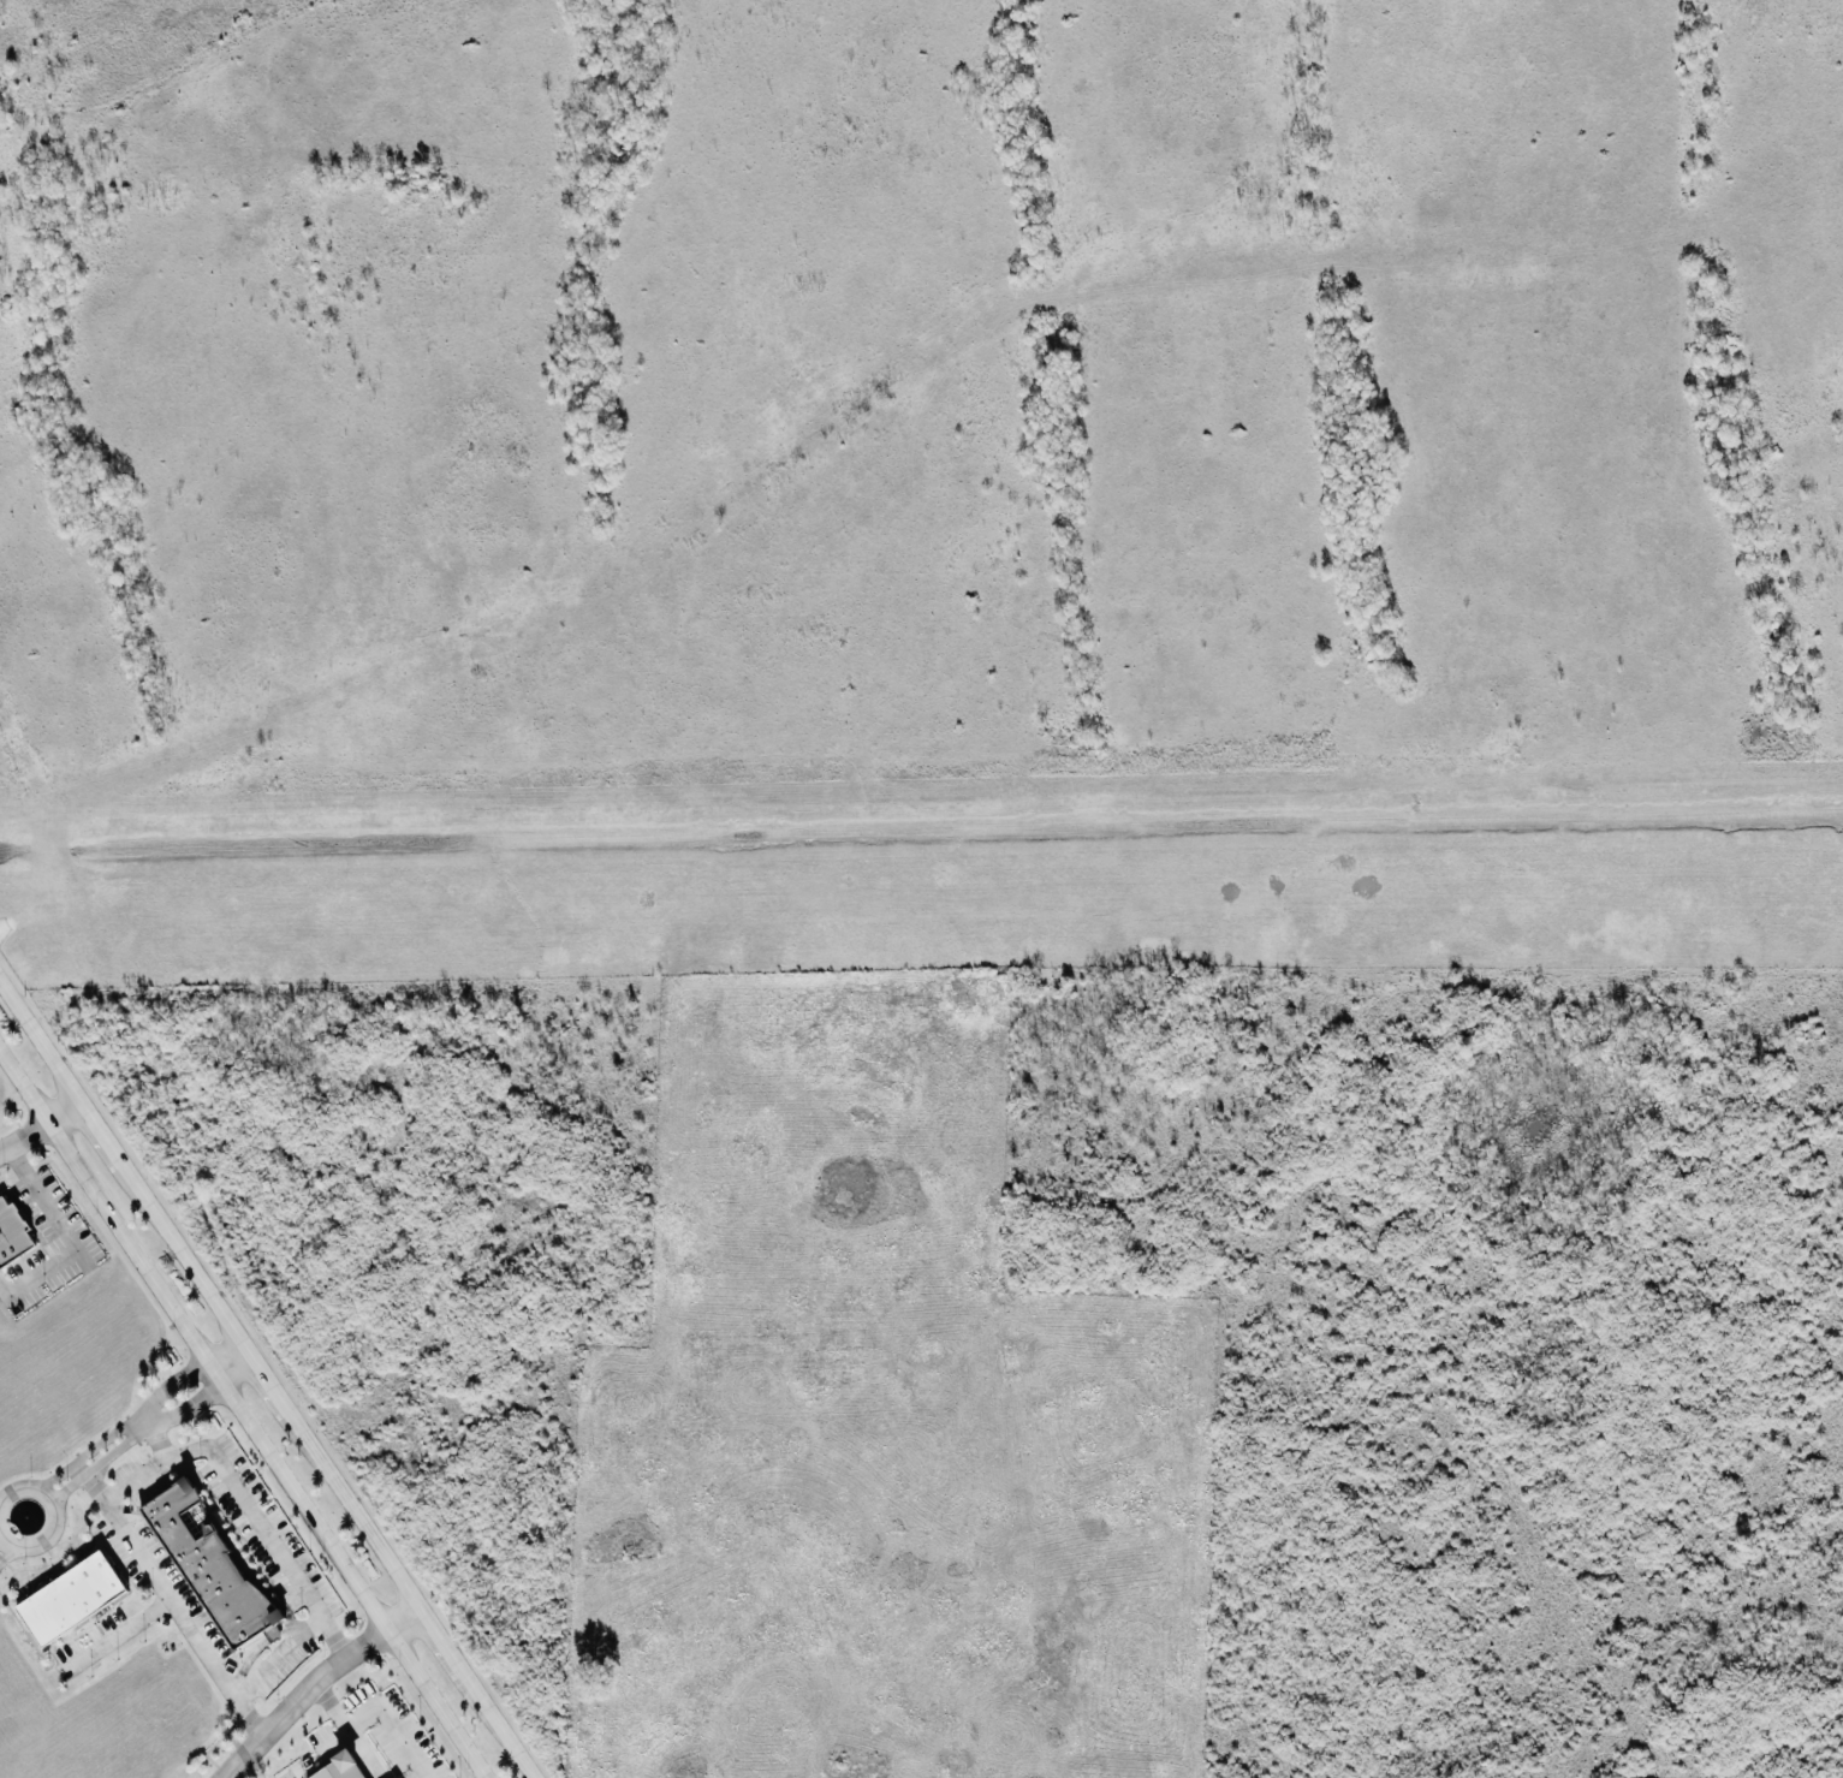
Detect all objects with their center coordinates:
road: (41, 1128)
building: (12, 1231)
road: (65, 1235)
road: (232, 1363)
road: (267, 1378)
road: (242, 1414)
road: (148, 1417)
road: (124, 1426)
road: (133, 1437)
road: (157, 1440)
road: (243, 1504)
road: (55, 1517)
road: (8, 1553)
building: (213, 1568)
building: (71, 1598)
road: (172, 1605)
road: (117, 1633)
road: (275, 1657)
road: (313, 1684)
road: (381, 1709)
road: (347, 1730)
building: (339, 1767)
building: (396, 1777)

